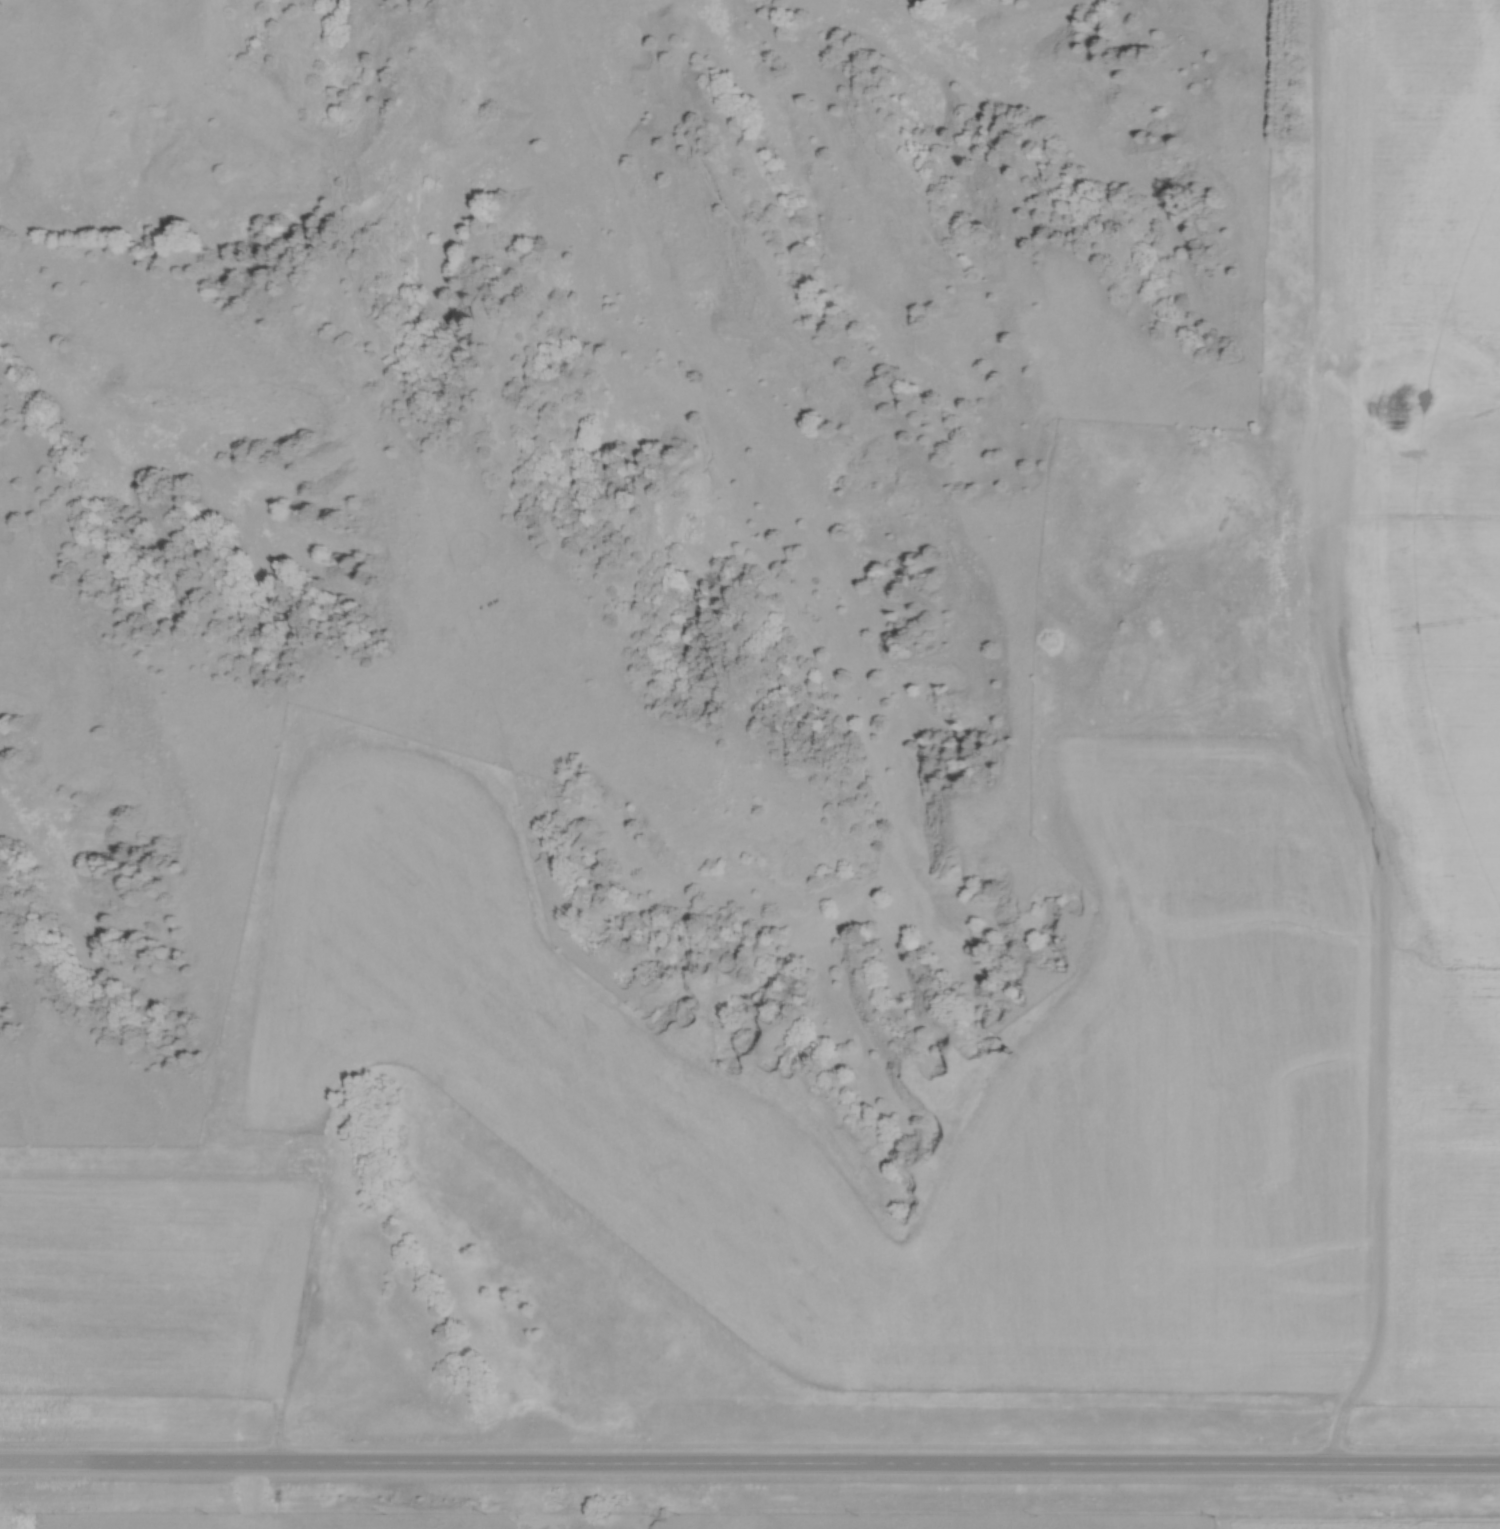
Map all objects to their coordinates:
road: (750, 1464)

